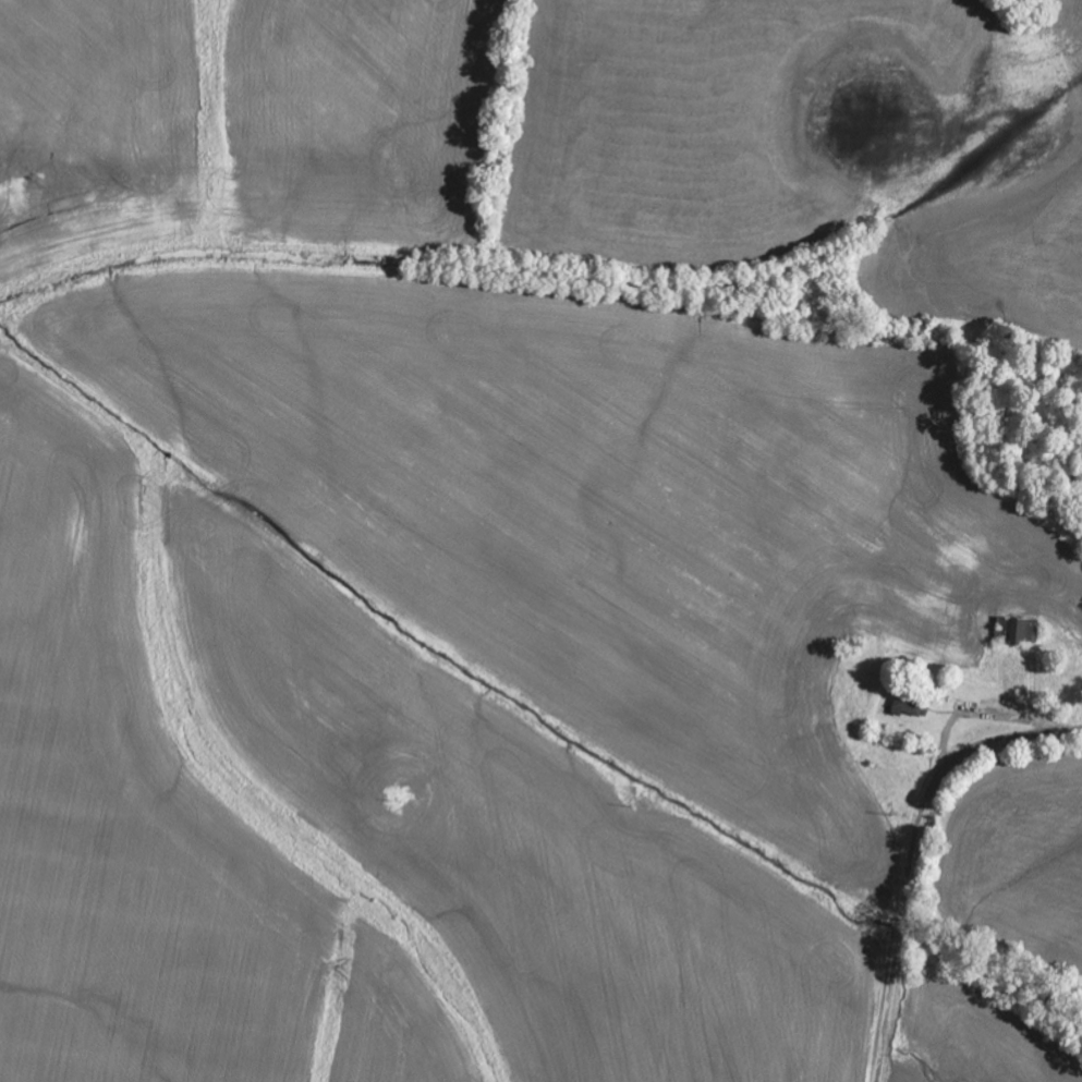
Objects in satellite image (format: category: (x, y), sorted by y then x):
road: (911, 848)

